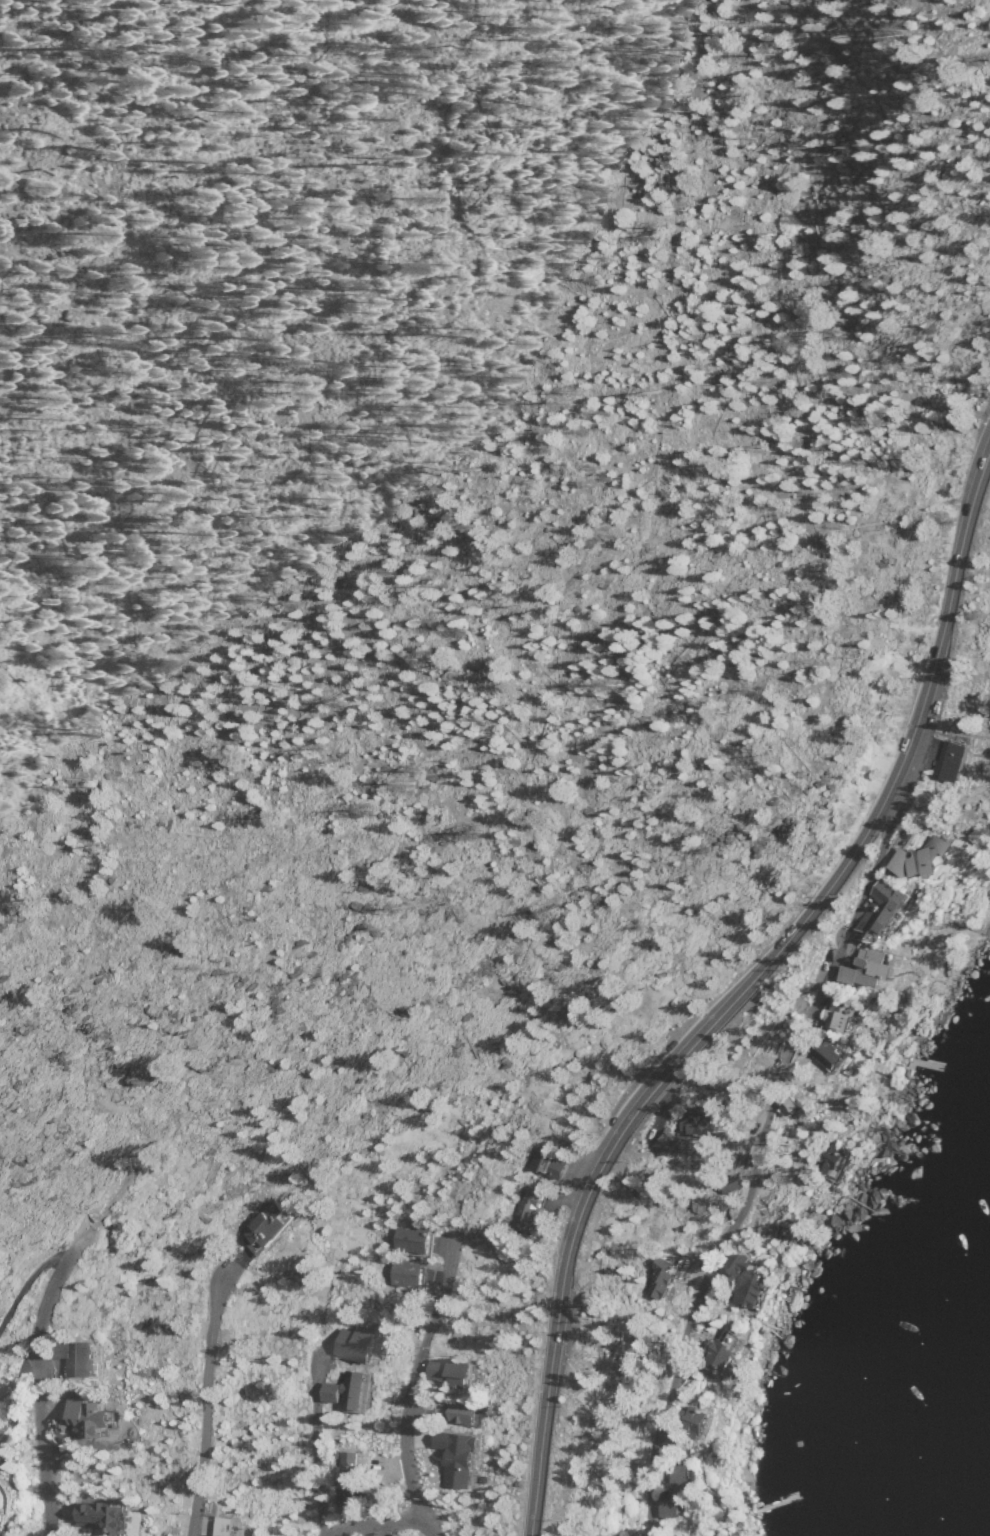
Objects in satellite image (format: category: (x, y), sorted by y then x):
pier: (987, 918)
road: (743, 989)
pier: (925, 1062)
road: (757, 1157)
building: (545, 1159)
road: (107, 1203)
building: (527, 1207)
building: (267, 1223)
building: (413, 1241)
building: (0, 1267)
building: (408, 1274)
road: (24, 1283)
building: (359, 1340)
building: (77, 1349)
building: (452, 1371)
building: (348, 1389)
road: (410, 1391)
road: (36, 1395)
road: (205, 1406)
building: (88, 1410)
building: (463, 1412)
road: (316, 1441)
building: (456, 1456)
building: (348, 1471)
pier: (774, 1503)
building: (99, 1511)
building: (233, 1524)
road: (373, 1524)
road: (382, 1529)

